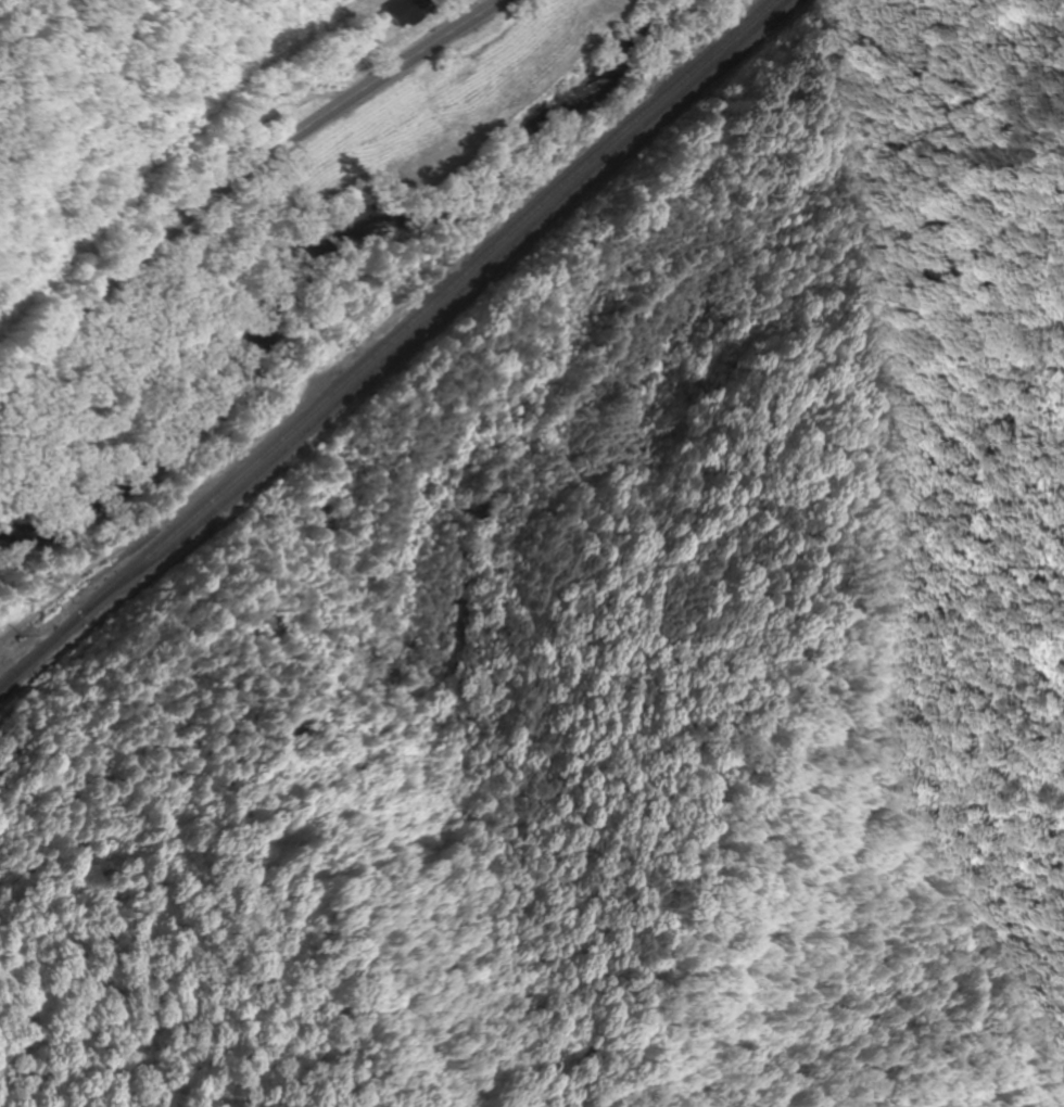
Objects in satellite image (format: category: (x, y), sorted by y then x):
building: (410, 11)
building: (263, 115)
road: (235, 178)
river: (315, 245)
railway: (384, 346)

